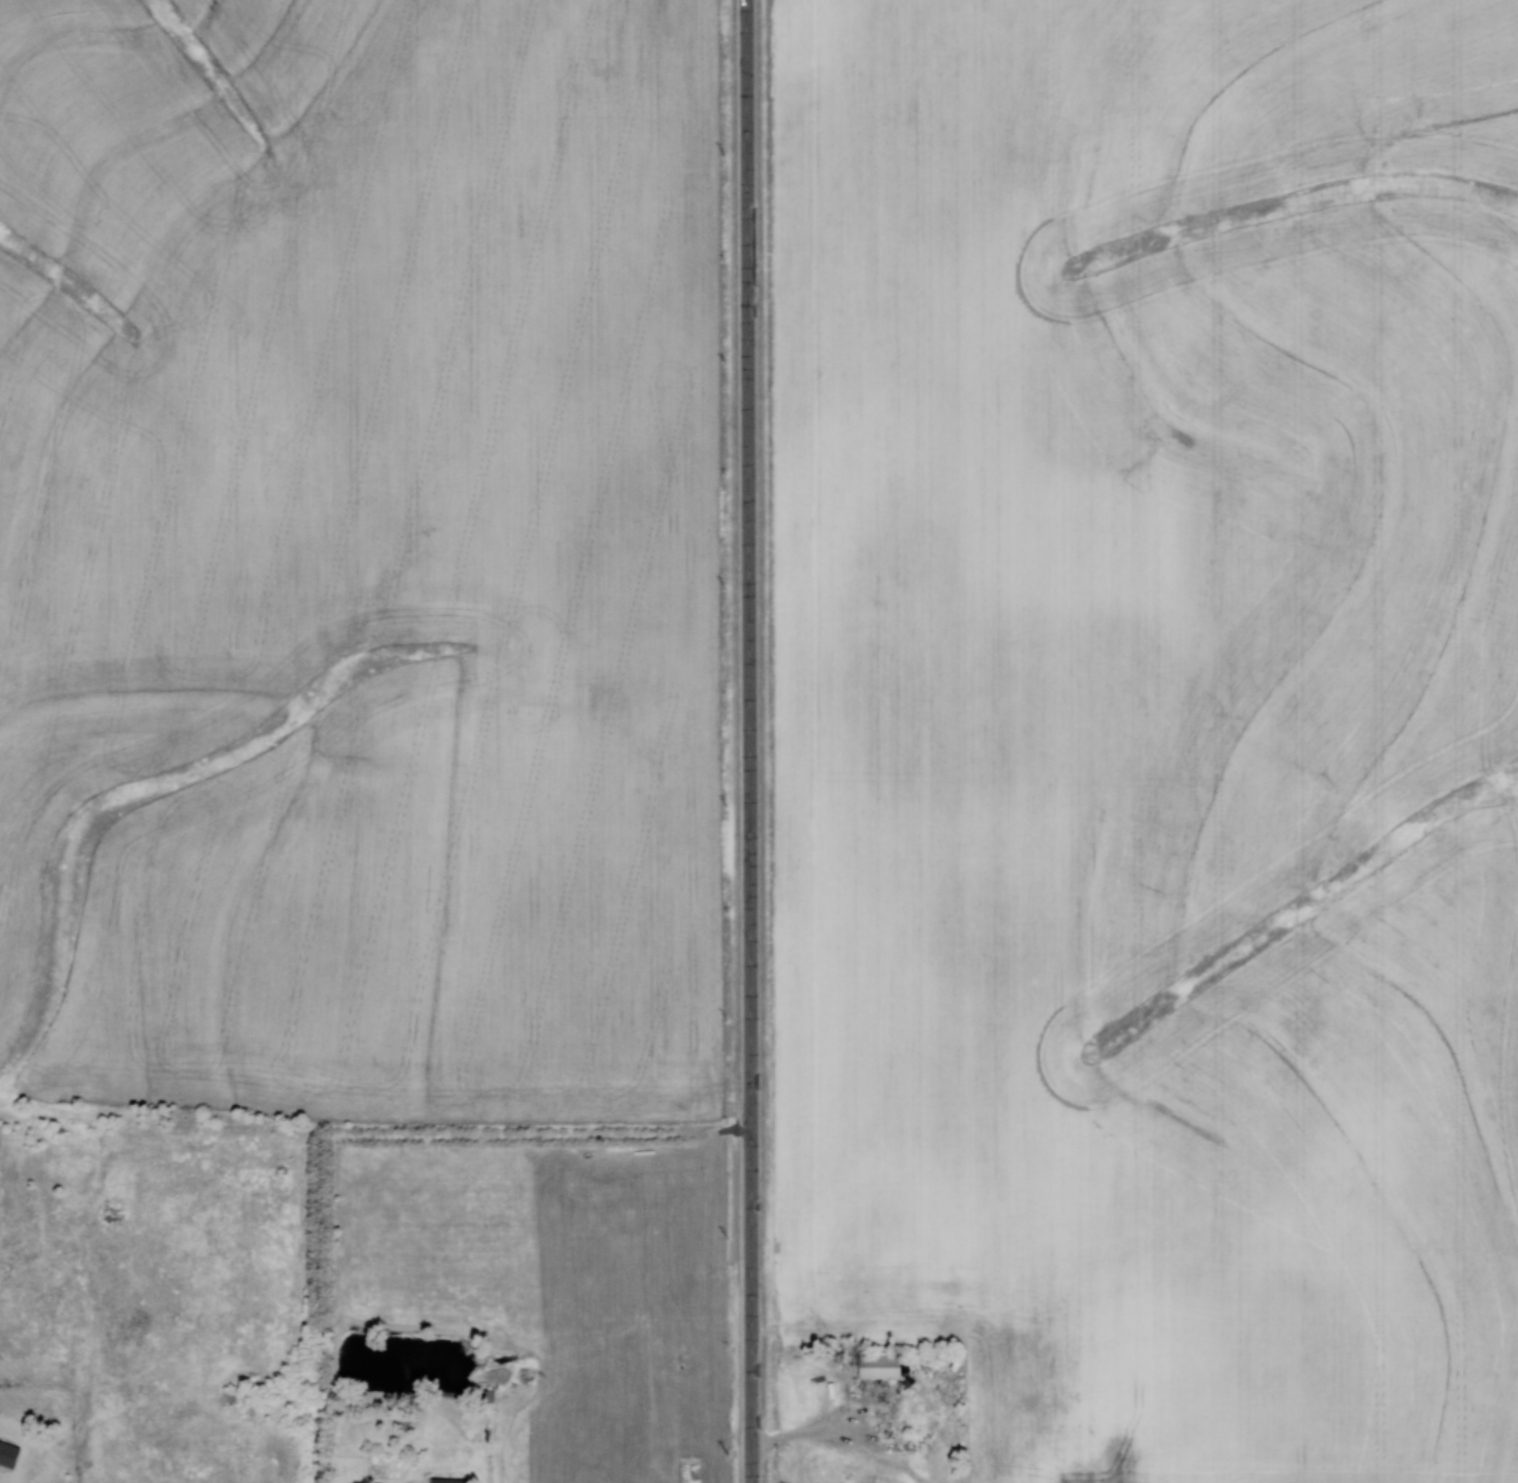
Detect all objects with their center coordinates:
road: (750, 741)
building: (874, 1368)
road: (823, 1431)
road: (92, 1451)
building: (11, 1452)
building: (455, 1480)

